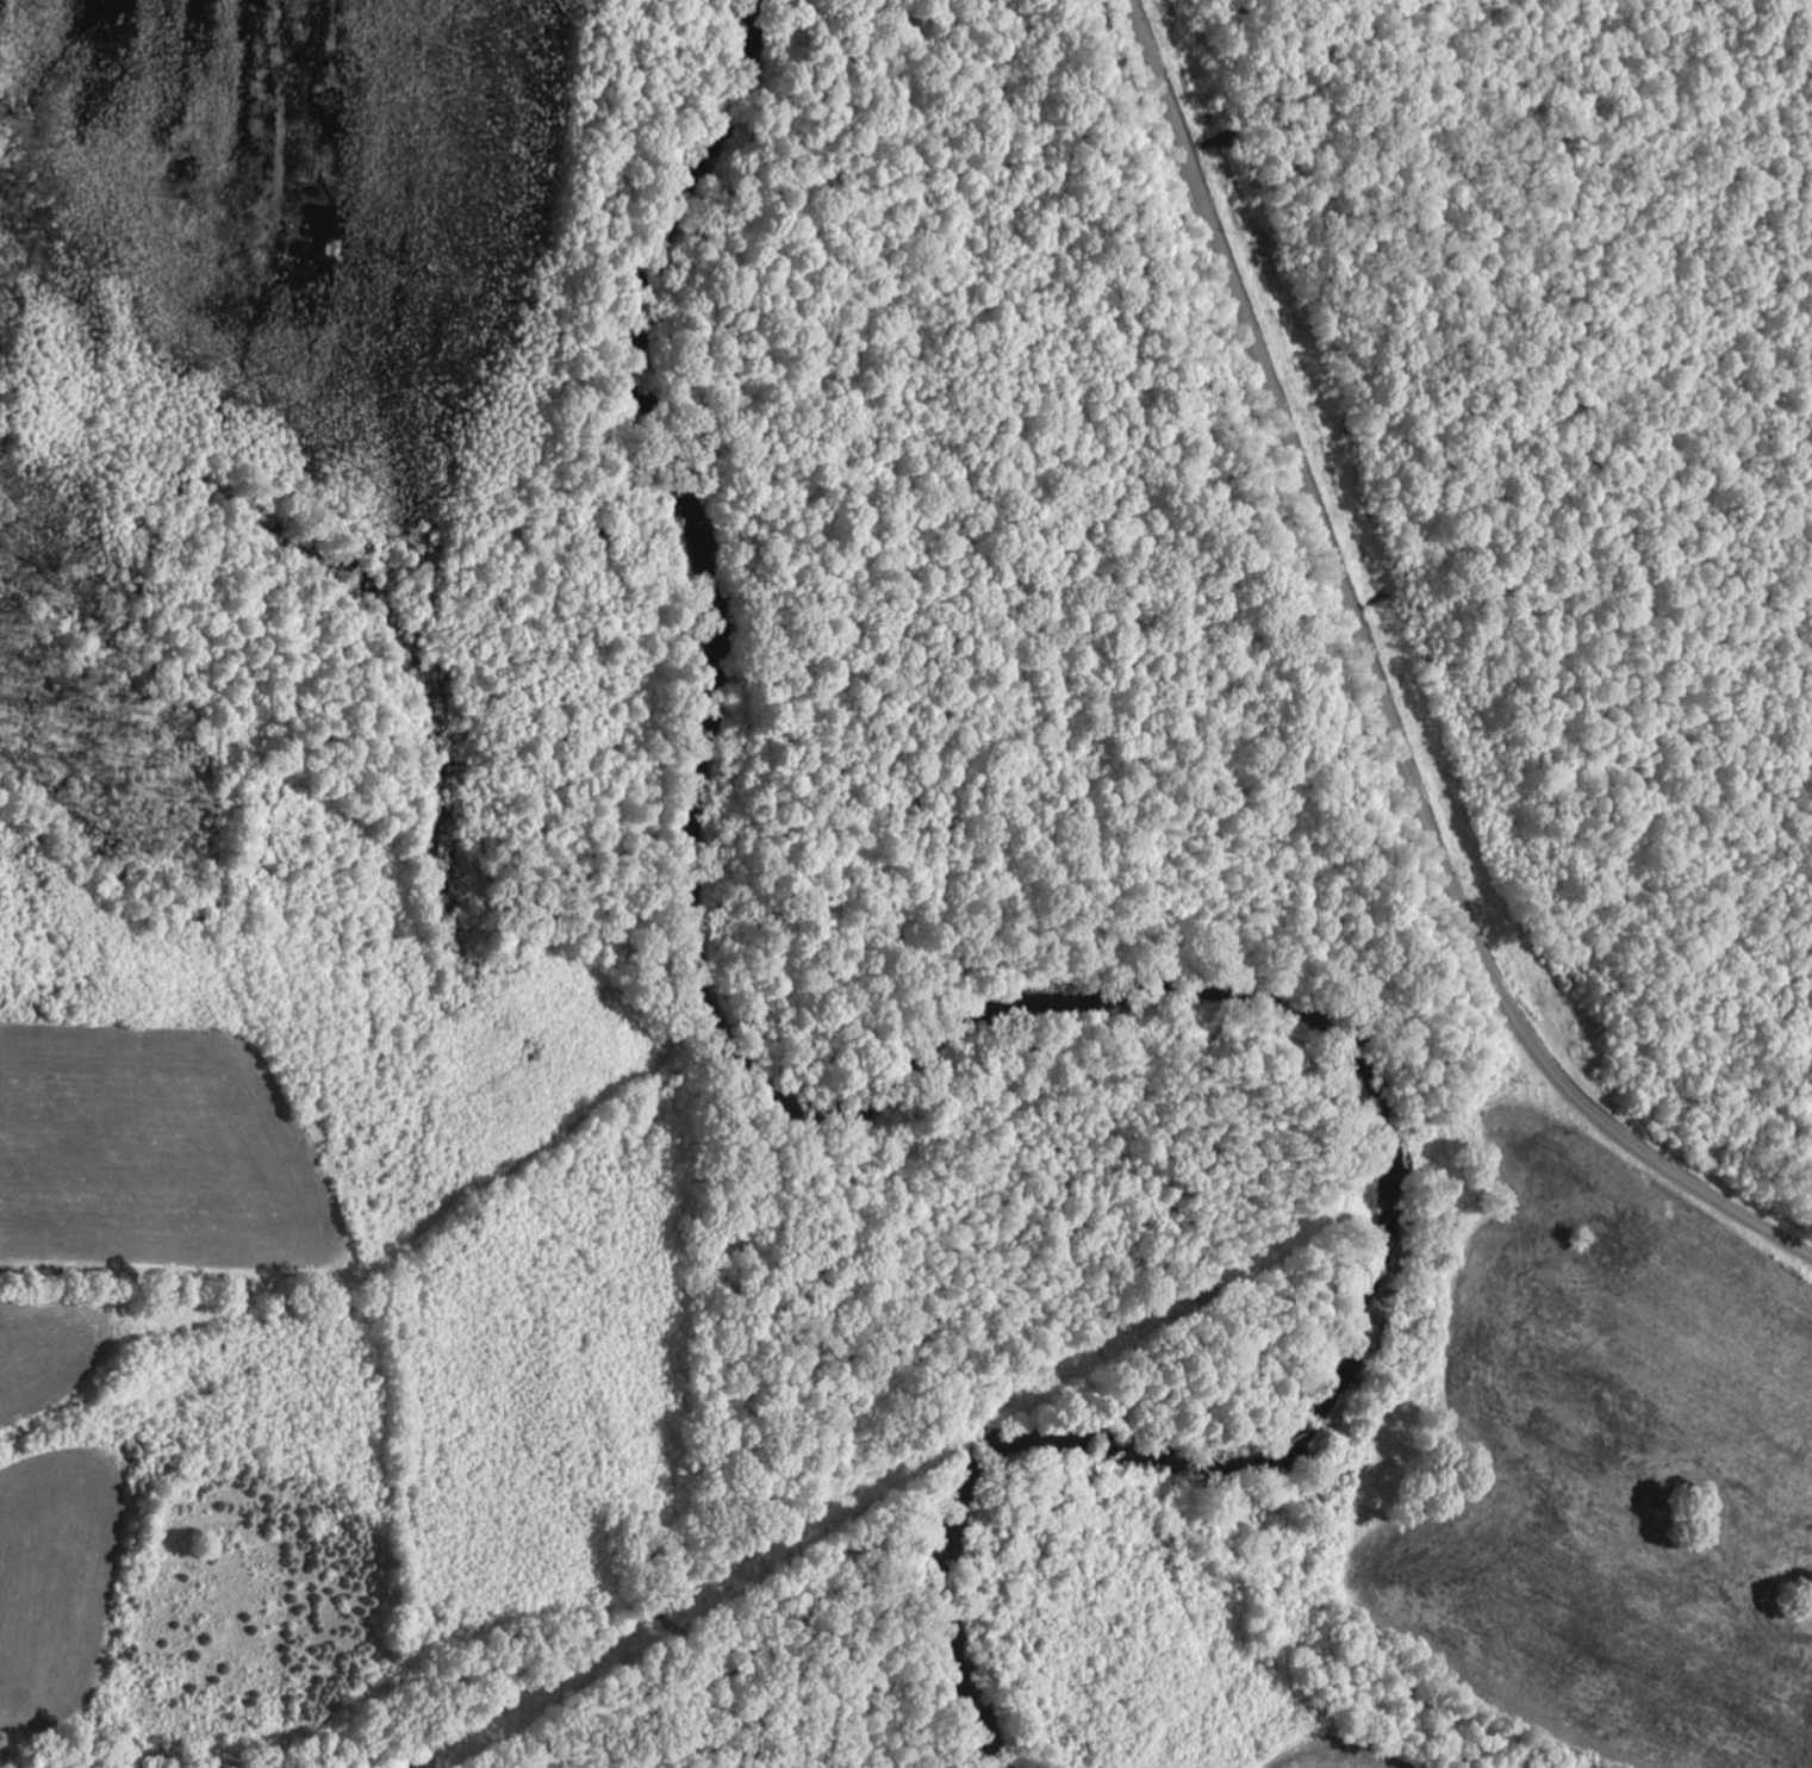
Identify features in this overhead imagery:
road: (1380, 692)
river: (1000, 1014)
crop: (170, 1372)

